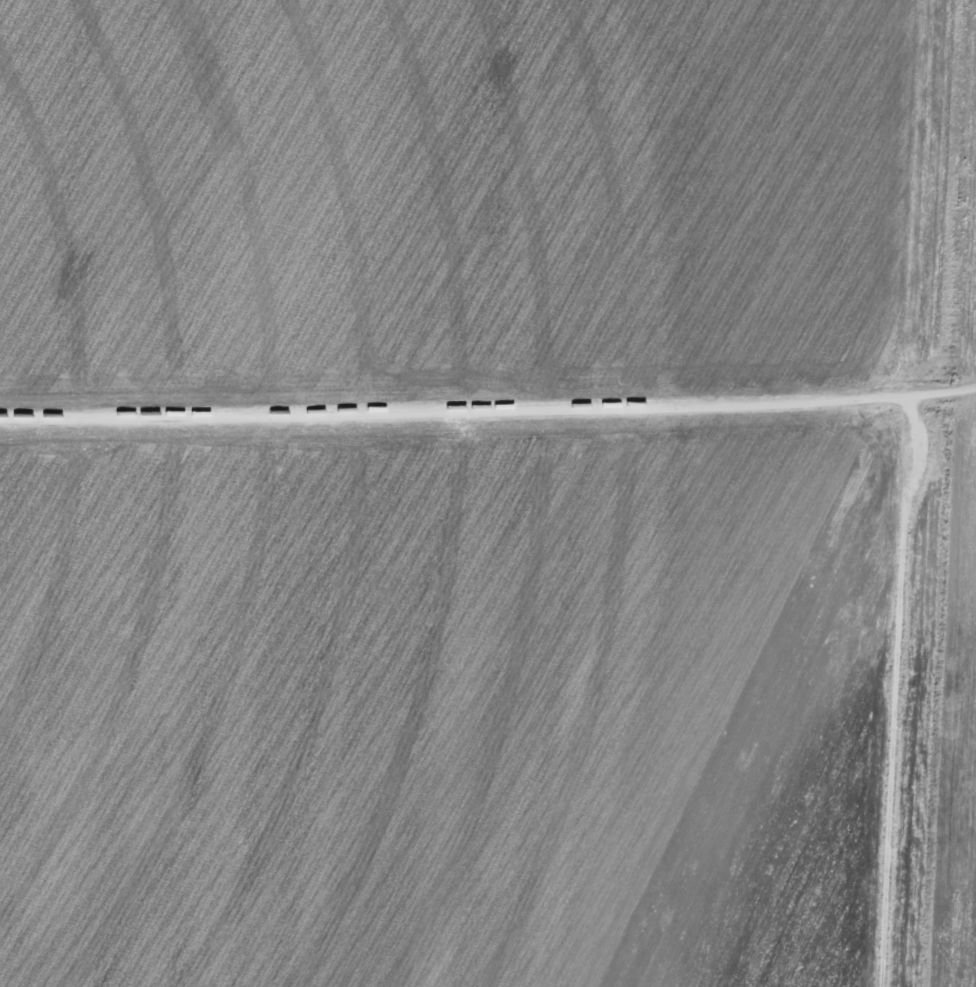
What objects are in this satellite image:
road: (926, 695)

